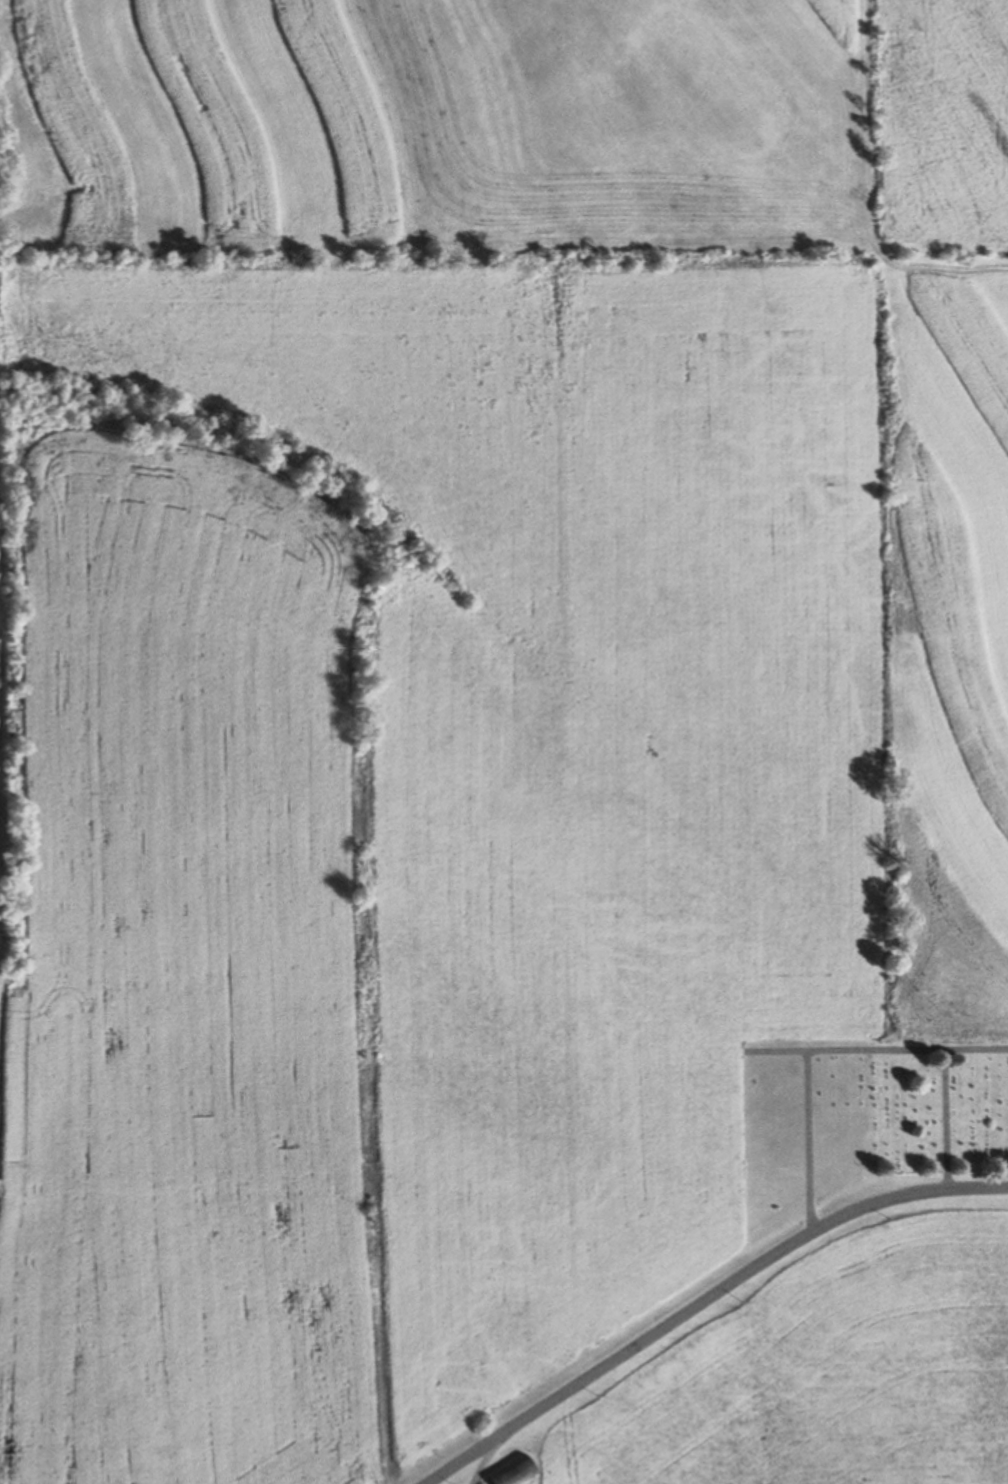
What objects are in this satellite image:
road: (907, 1051)
road: (808, 1111)
road: (945, 1121)
park: (862, 1125)
road: (703, 1300)
road: (476, 1464)
building: (512, 1471)

